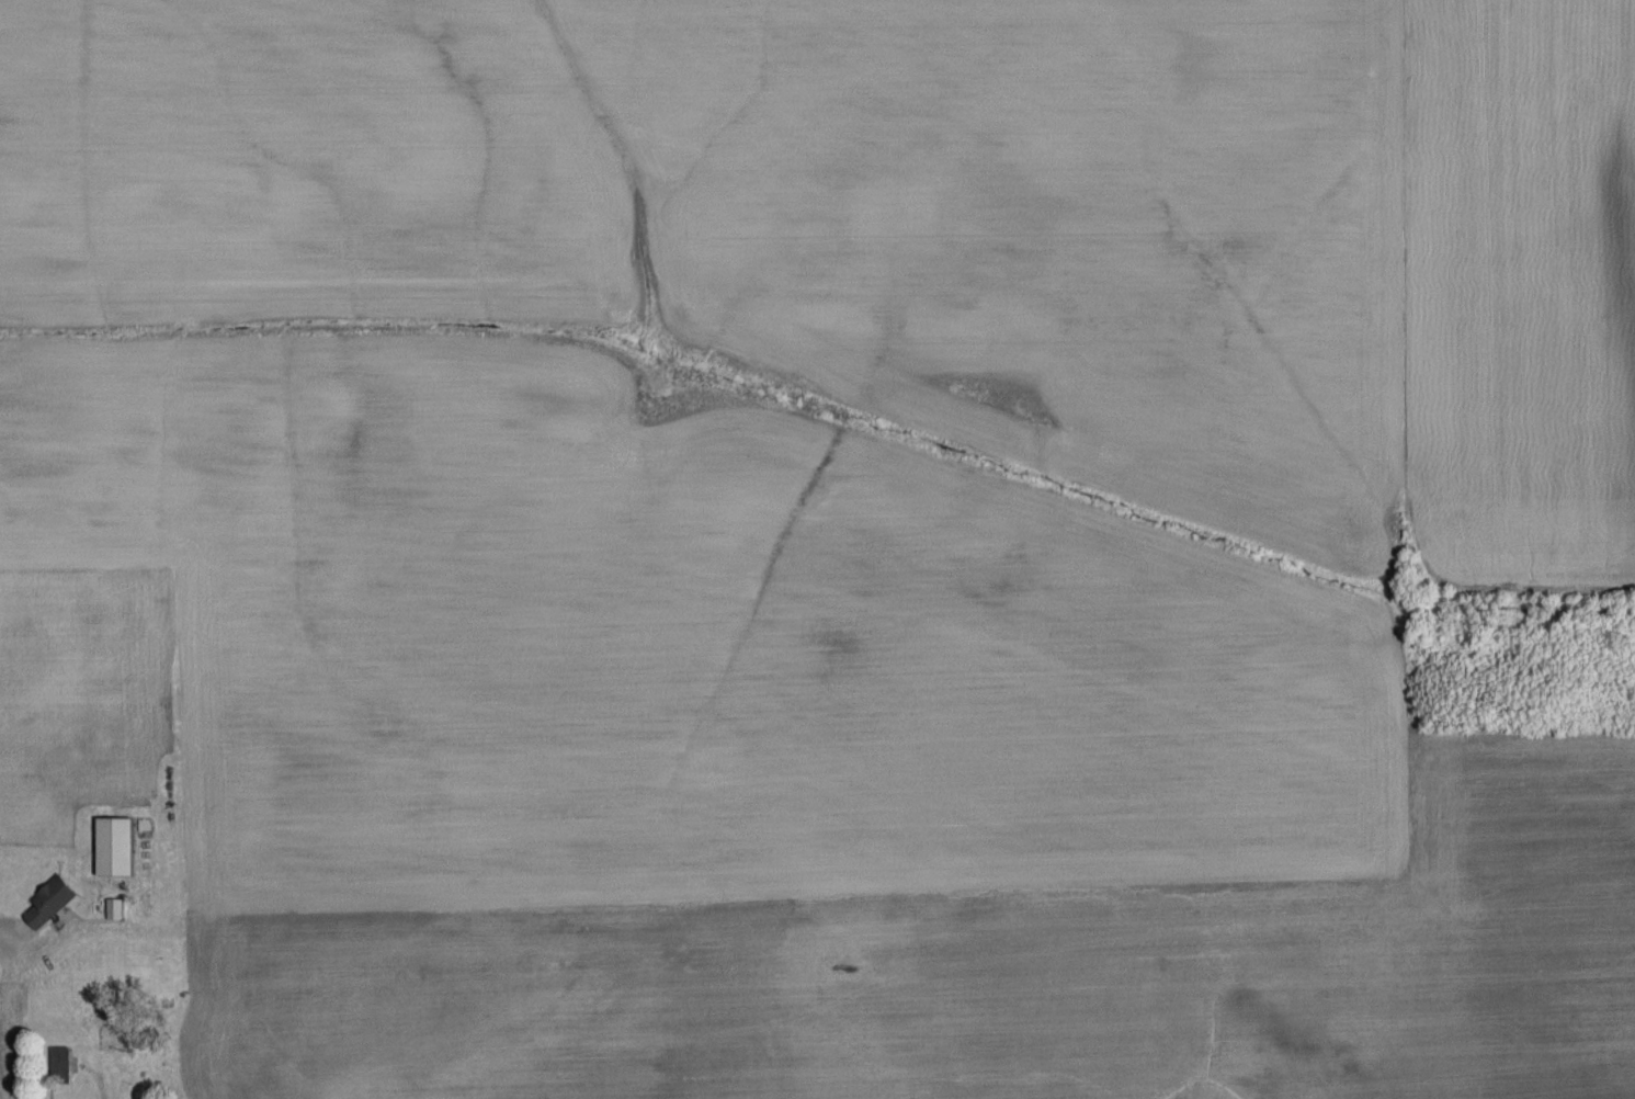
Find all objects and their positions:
building: (118, 845)
building: (54, 900)
building: (117, 907)
building: (64, 1060)
road: (94, 1080)

